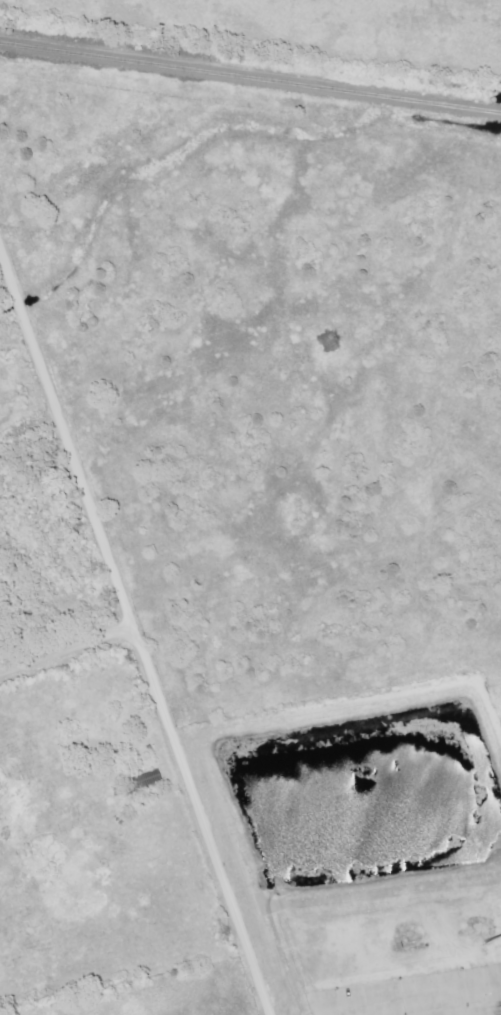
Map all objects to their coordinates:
railway: (250, 78)
road: (132, 638)
road: (65, 652)
building: (149, 779)

